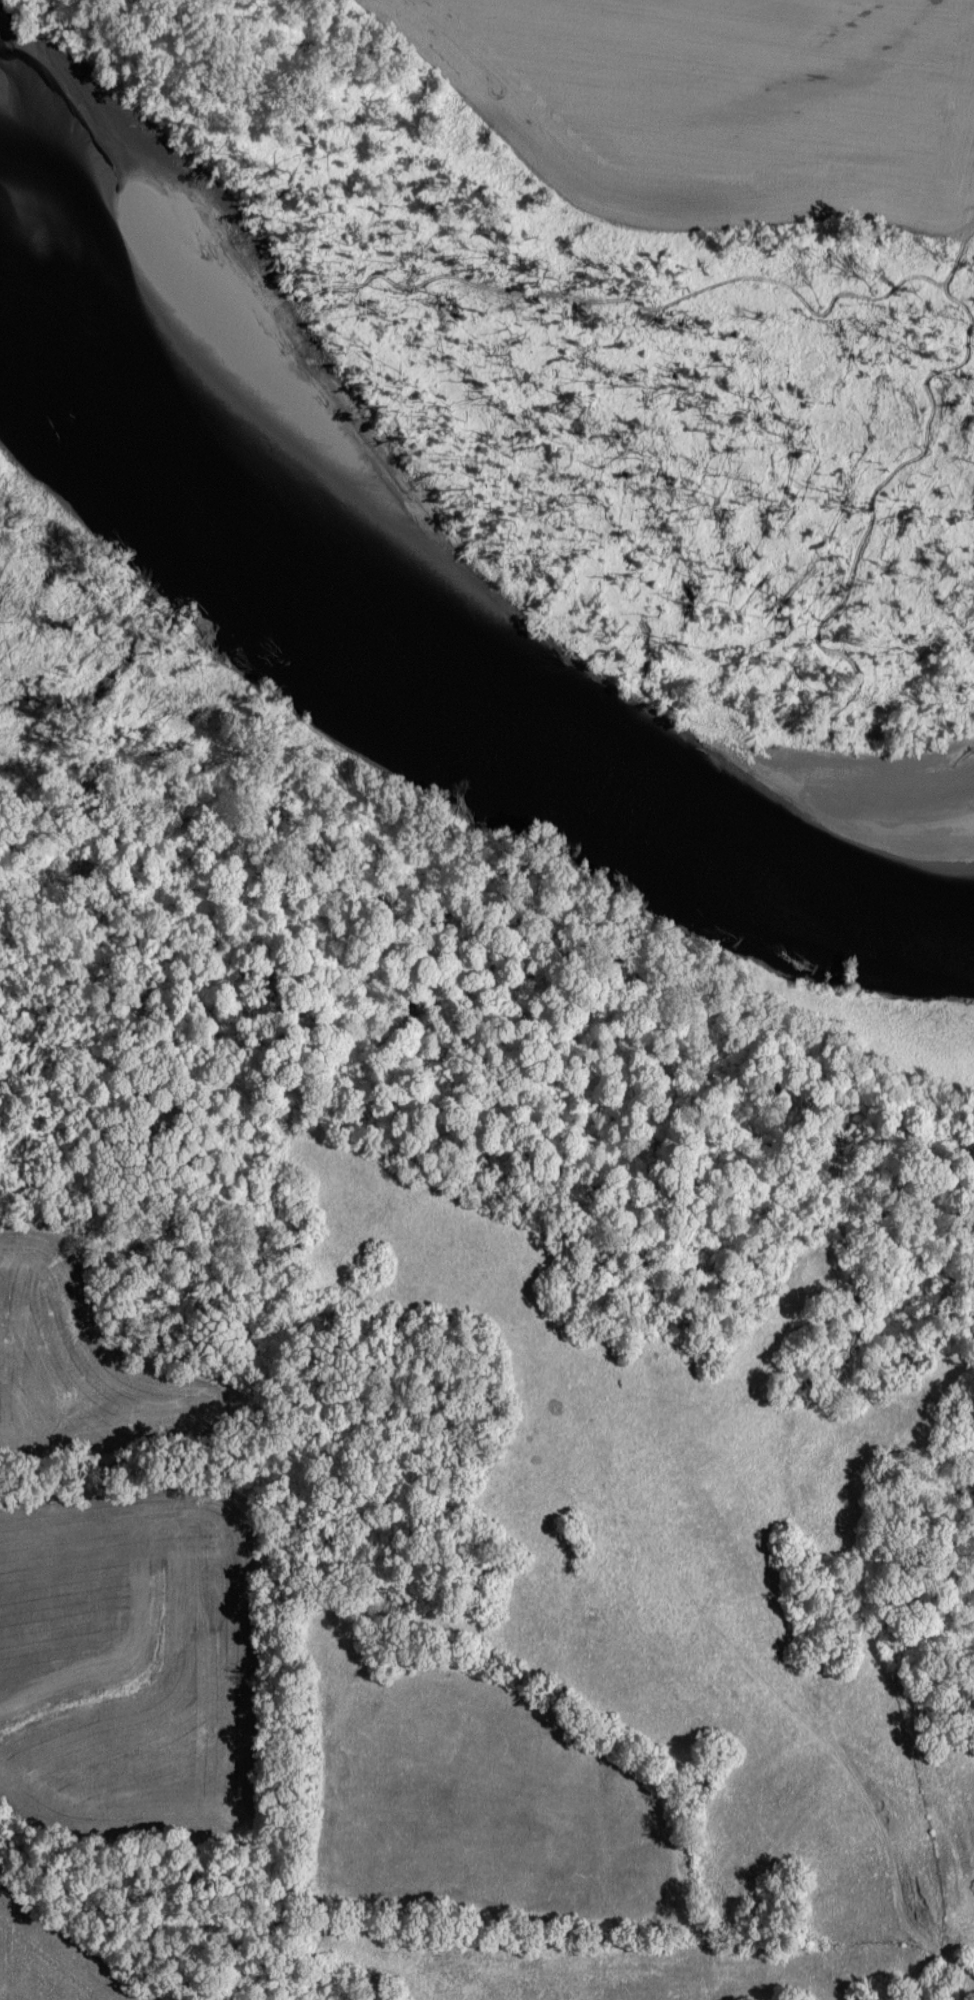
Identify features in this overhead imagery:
river: (403, 631)

